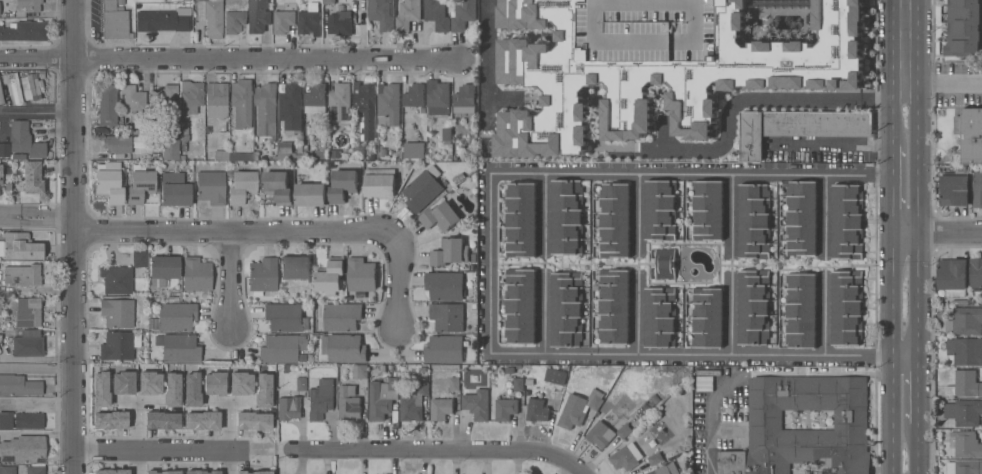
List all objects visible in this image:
building: (173, 0)
building: (186, 0)
building: (120, 2)
building: (329, 2)
building: (28, 5)
building: (382, 14)
building: (408, 14)
building: (436, 14)
building: (463, 15)
building: (211, 16)
building: (259, 16)
building: (309, 18)
building: (114, 20)
building: (162, 20)
building: (234, 21)
building: (283, 21)
building: (340, 23)
building: (963, 28)
building: (709, 29)
building: (25, 31)
road: (907, 50)
road: (232, 61)
road: (484, 64)
building: (853, 80)
building: (759, 81)
building: (797, 83)
building: (30, 86)
building: (14, 87)
road: (944, 87)
building: (191, 95)
building: (414, 96)
building: (437, 97)
building: (1, 98)
building: (165, 98)
building: (315, 99)
building: (464, 99)
building: (134, 100)
building: (216, 100)
road: (829, 100)
building: (339, 101)
building: (242, 102)
building: (266, 102)
building: (107, 104)
building: (388, 104)
building: (291, 108)
building: (367, 108)
building: (674, 109)
road: (38, 111)
road: (892, 118)
building: (797, 127)
building: (970, 134)
building: (446, 135)
building: (184, 136)
building: (24, 140)
building: (117, 144)
road: (831, 145)
building: (170, 147)
building: (414, 149)
building: (5, 150)
building: (358, 153)
building: (232, 155)
building: (292, 155)
building: (335, 155)
building: (373, 157)
building: (1, 173)
road: (690, 174)
building: (32, 177)
building: (111, 182)
building: (380, 182)
building: (140, 185)
building: (343, 185)
building: (242, 186)
building: (211, 187)
building: (278, 187)
building: (175, 189)
building: (423, 189)
road: (892, 189)
building: (977, 189)
building: (954, 190)
building: (311, 195)
building: (660, 210)
building: (708, 211)
road: (543, 213)
road: (731, 213)
road: (638, 214)
road: (823, 214)
building: (567, 216)
building: (440, 217)
building: (801, 218)
building: (521, 220)
building: (614, 221)
building: (754, 221)
building: (847, 222)
road: (916, 226)
road: (199, 230)
road: (937, 234)
road: (76, 237)
building: (21, 247)
building: (449, 252)
building: (139, 258)
road: (489, 263)
building: (665, 264)
building: (295, 267)
building: (163, 269)
building: (975, 273)
building: (22, 274)
building: (196, 274)
building: (361, 275)
building: (262, 276)
building: (330, 276)
building: (952, 277)
building: (117, 279)
road: (400, 282)
road: (233, 284)
building: (444, 285)
building: (520, 305)
building: (614, 306)
building: (753, 307)
building: (847, 307)
building: (566, 309)
building: (801, 310)
building: (26, 311)
building: (119, 313)
road: (636, 313)
road: (543, 315)
road: (824, 315)
building: (660, 316)
road: (730, 316)
building: (173, 317)
building: (284, 317)
building: (341, 317)
building: (448, 317)
building: (707, 318)
building: (965, 321)
building: (0, 338)
building: (119, 345)
building: (27, 346)
building: (178, 347)
building: (281, 347)
building: (343, 348)
building: (444, 349)
building: (965, 351)
road: (702, 354)
road: (892, 354)
road: (38, 367)
building: (360, 372)
road: (812, 373)
building: (554, 376)
building: (122, 382)
building: (149, 382)
building: (213, 382)
building: (240, 382)
building: (301, 383)
building: (454, 384)
building: (513, 384)
building: (965, 384)
building: (18, 385)
building: (559, 386)
building: (100, 388)
building: (171, 389)
building: (191, 389)
building: (262, 389)
road: (917, 390)
building: (321, 398)
building: (382, 398)
building: (348, 403)
building: (413, 403)
building: (476, 404)
road: (38, 405)
building: (537, 406)
building: (288, 407)
building: (579, 408)
building: (441, 409)
building: (505, 409)
building: (964, 412)
building: (109, 419)
building: (6, 420)
building: (28, 420)
building: (161, 420)
building: (201, 420)
building: (252, 420)
building: (765, 420)
road: (709, 421)
building: (623, 431)
building: (600, 434)
building: (965, 444)
building: (24, 448)
road: (916, 449)
road: (434, 450)
road: (159, 452)
building: (626, 457)
building: (655, 459)
building: (964, 468)
building: (7, 469)
building: (666, 469)
building: (35, 470)
building: (110, 471)
building: (163, 472)
building: (201, 472)
building: (253, 472)

